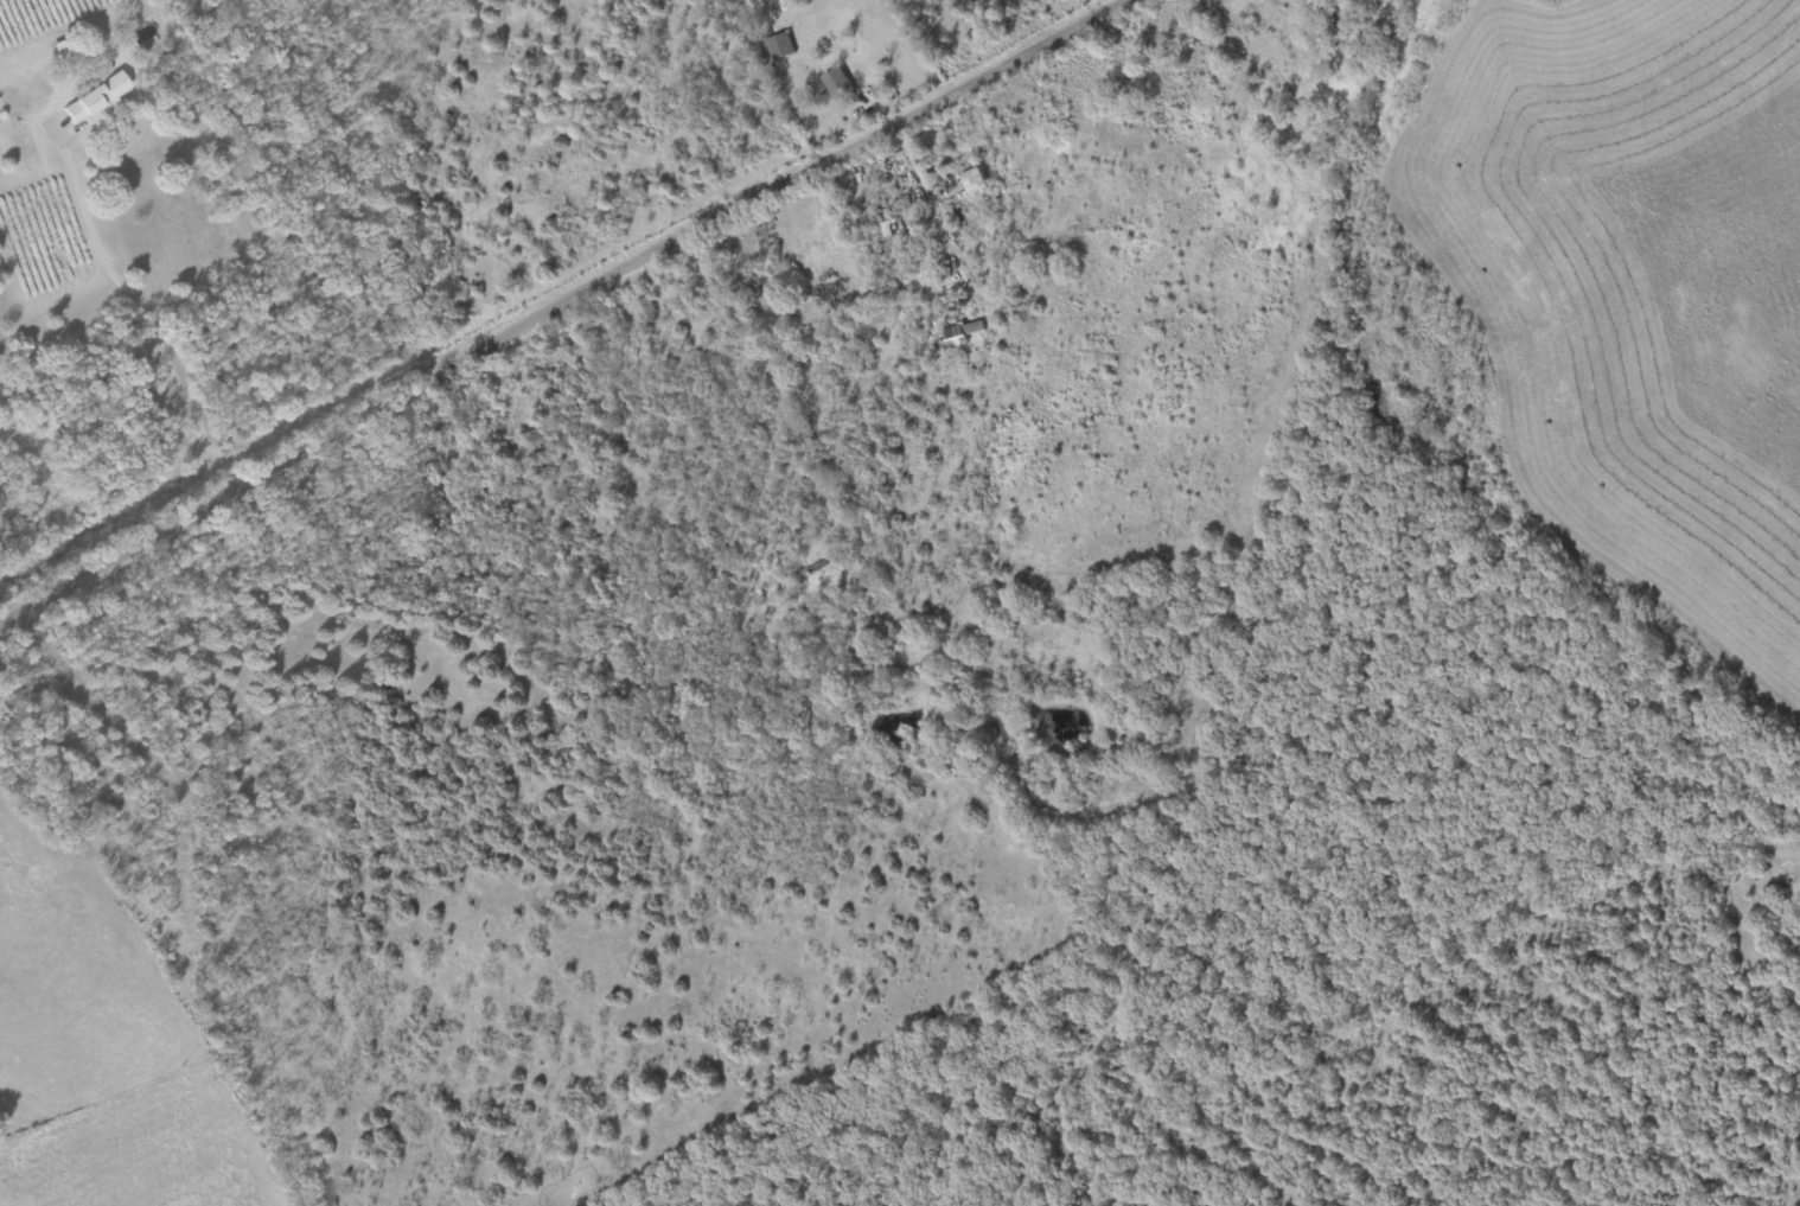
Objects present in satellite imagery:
building: (777, 49)
building: (60, 53)
building: (835, 85)
building: (95, 98)
building: (970, 184)
road: (562, 304)
building: (644, 310)
building: (959, 336)

